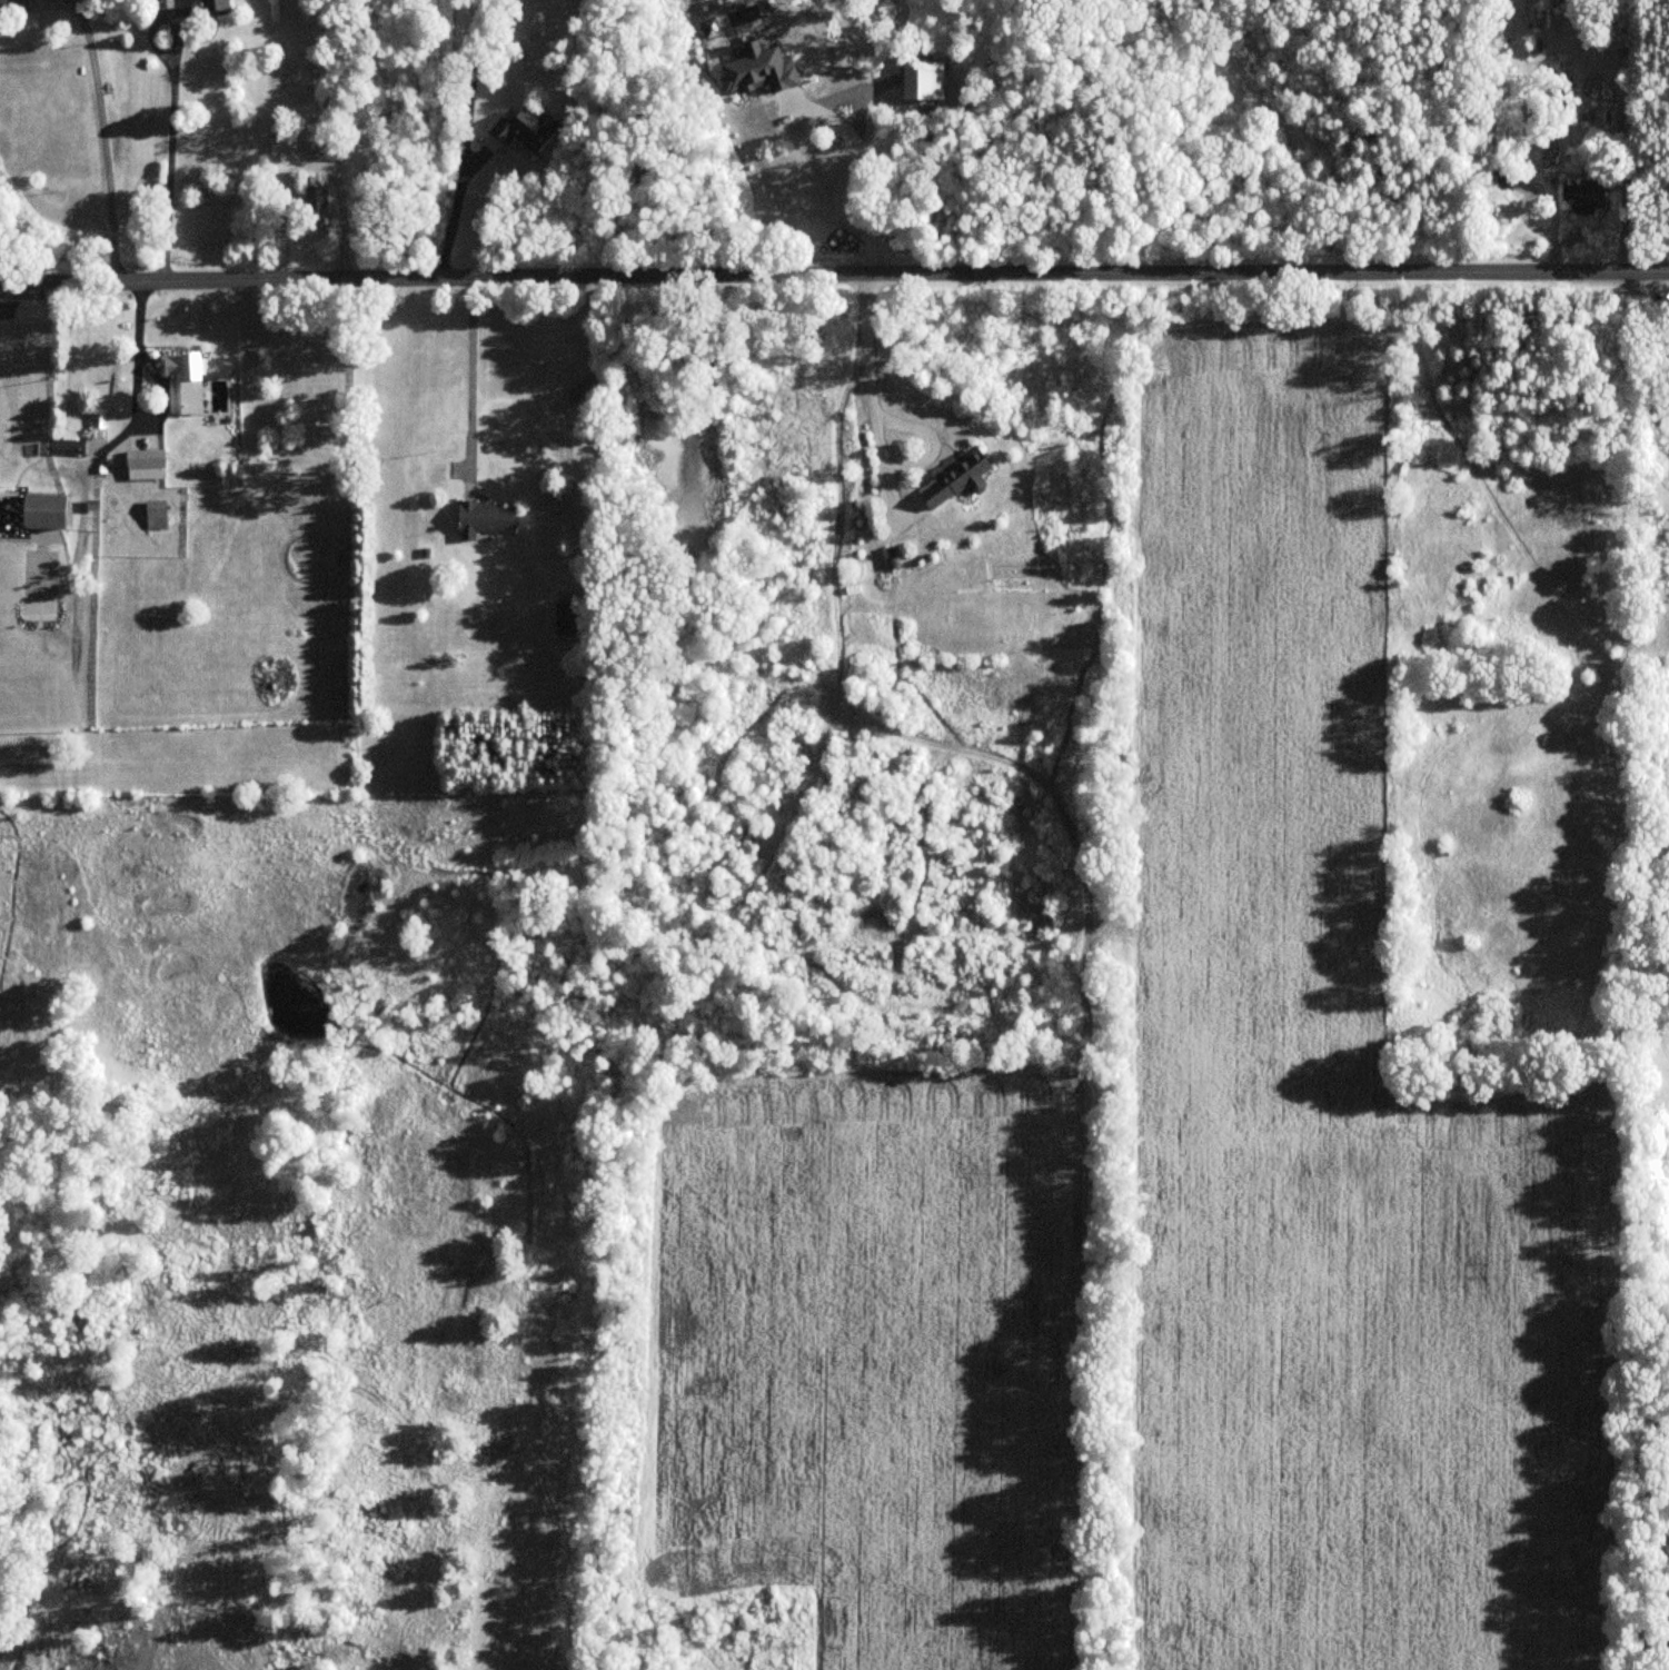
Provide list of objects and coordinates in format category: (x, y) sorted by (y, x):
building: (20, 2)
building: (215, 7)
building: (922, 82)
building: (794, 99)
road: (838, 122)
building: (523, 131)
road: (103, 138)
road: (465, 140)
road: (170, 145)
building: (329, 150)
road: (309, 165)
building: (1507, 178)
building: (1583, 197)
building: (315, 199)
road: (834, 275)
road: (471, 368)
road: (137, 374)
road: (871, 380)
building: (186, 384)
building: (66, 447)
building: (145, 464)
building: (954, 479)
building: (42, 511)
building: (156, 515)
building: (485, 519)
building: (566, 618)

